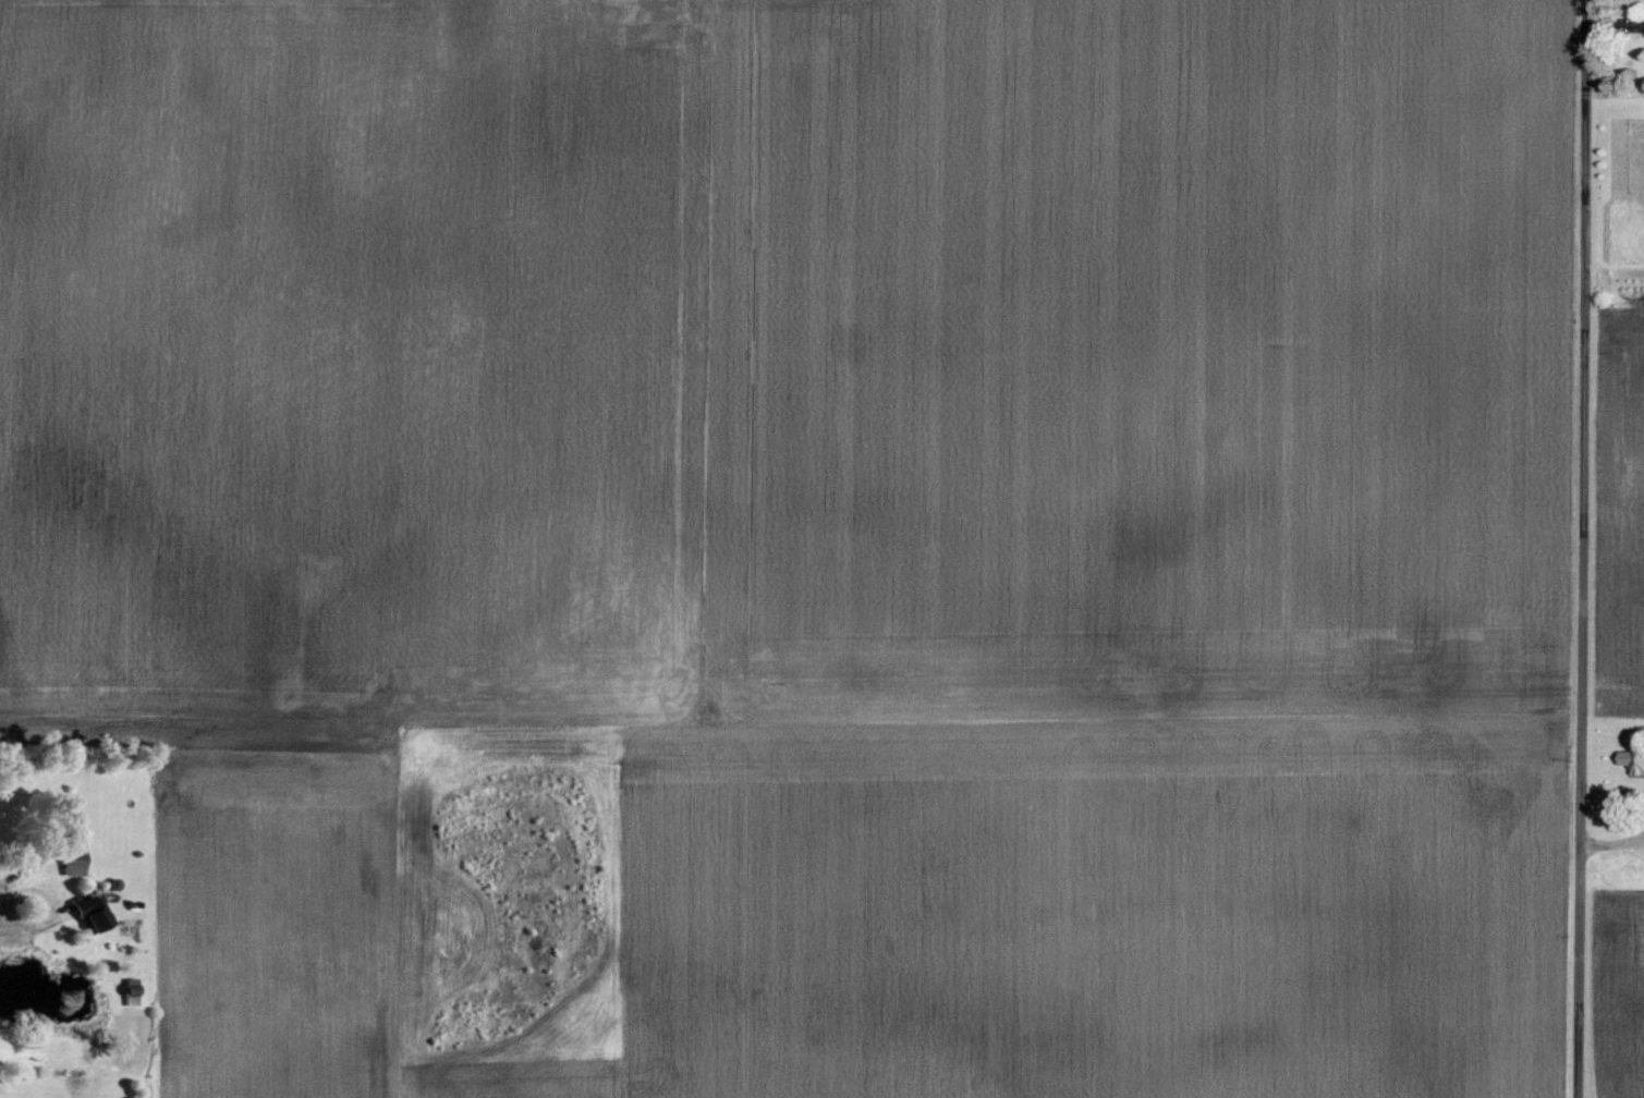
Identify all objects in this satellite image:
road: (1590, 549)
building: (75, 866)
road: (49, 907)
building: (94, 911)

